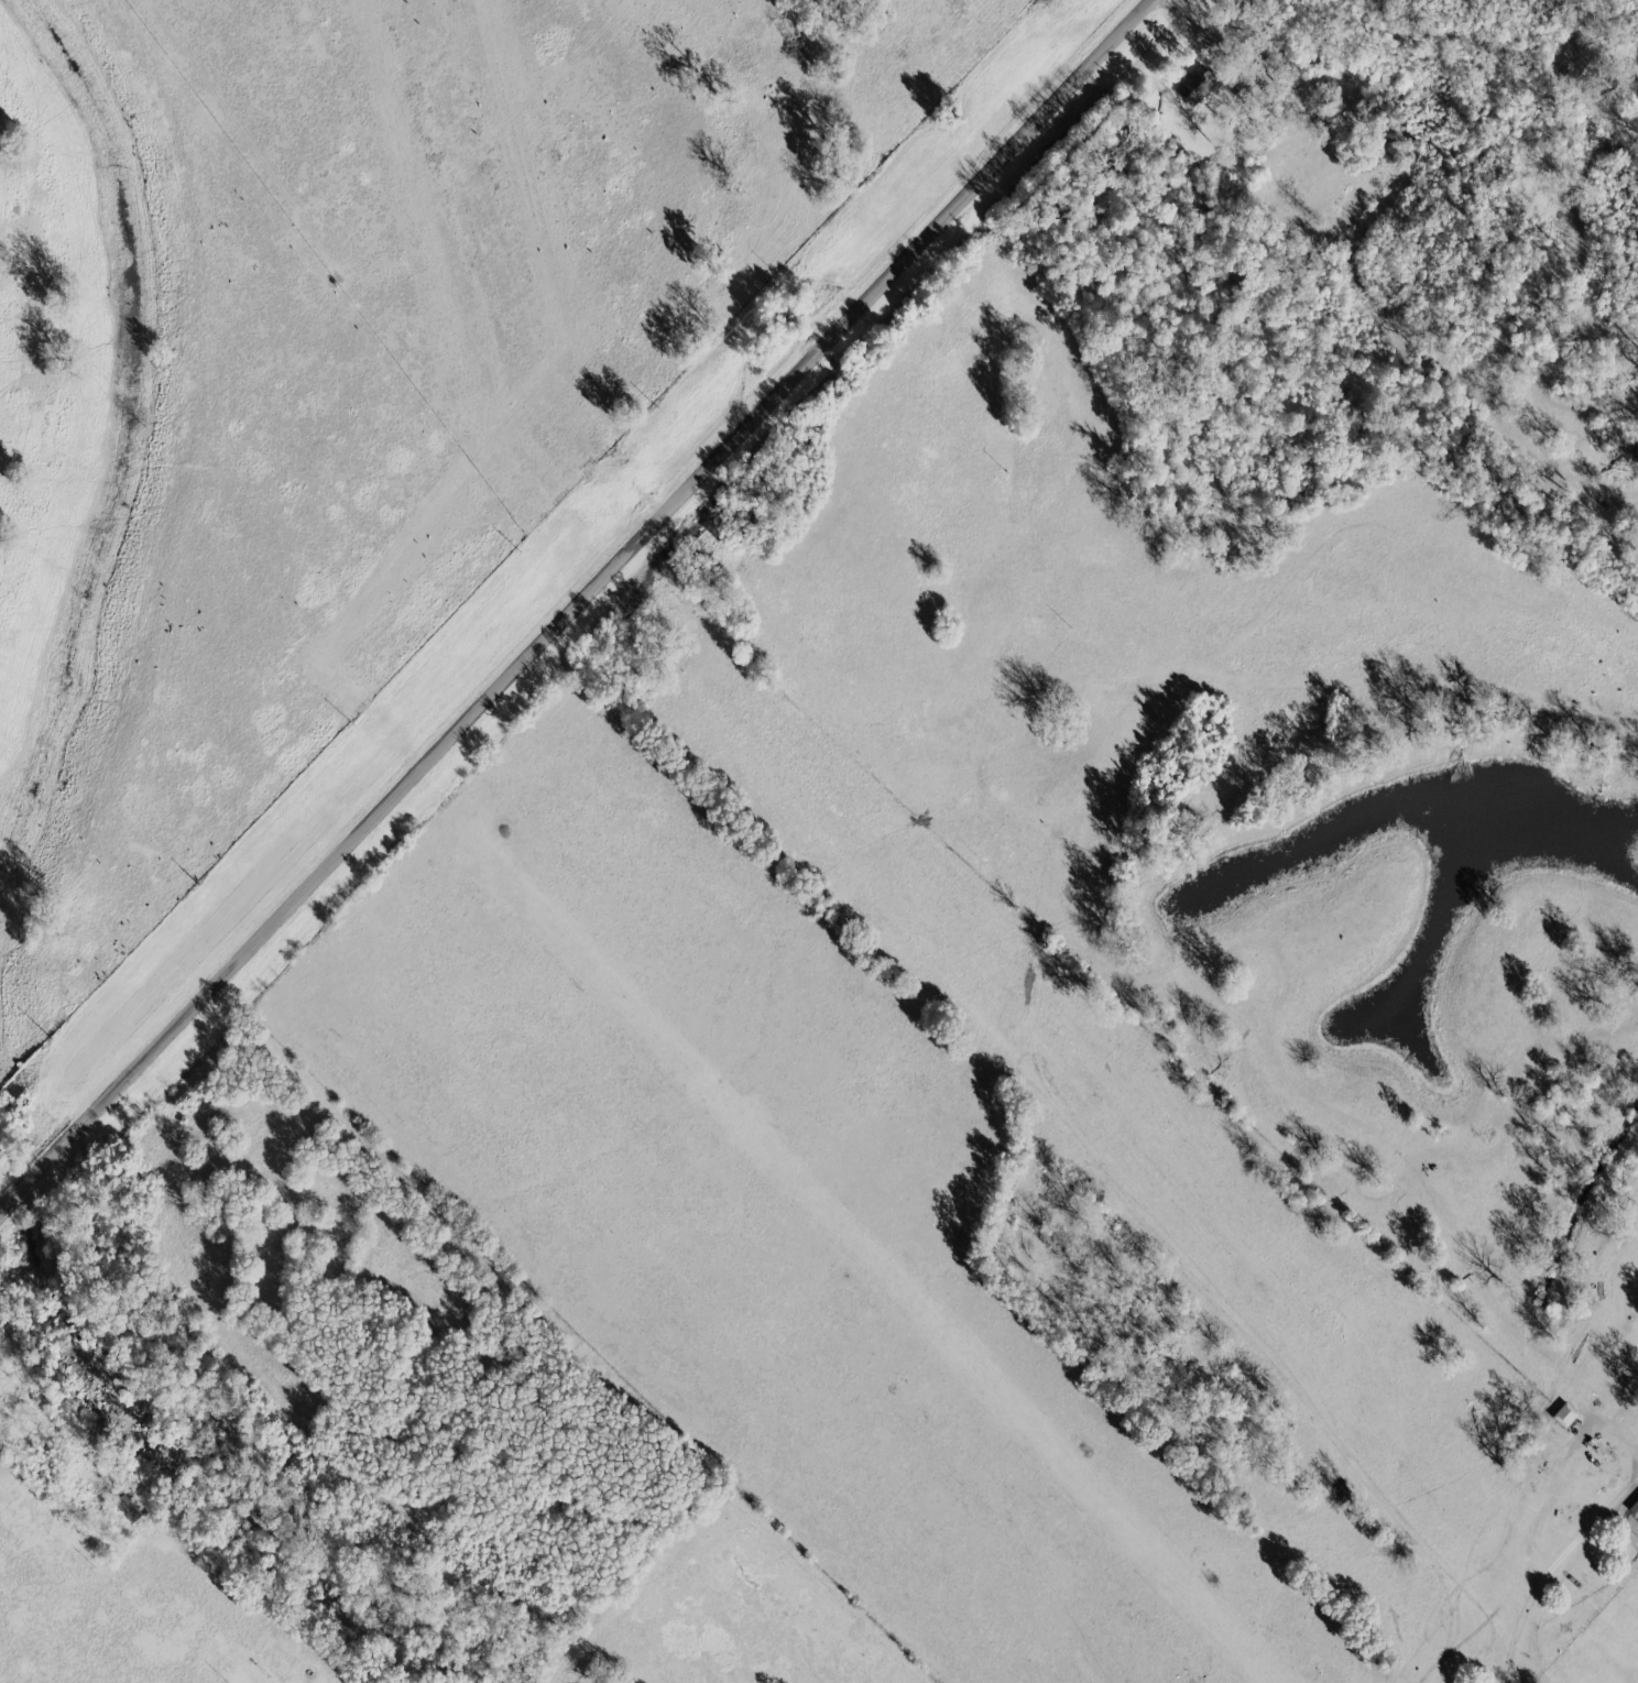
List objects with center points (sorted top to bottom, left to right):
building: (1188, 87)
road: (576, 600)
road: (33, 1406)
building: (1561, 1414)
road: (1612, 1430)
building: (1632, 1507)

